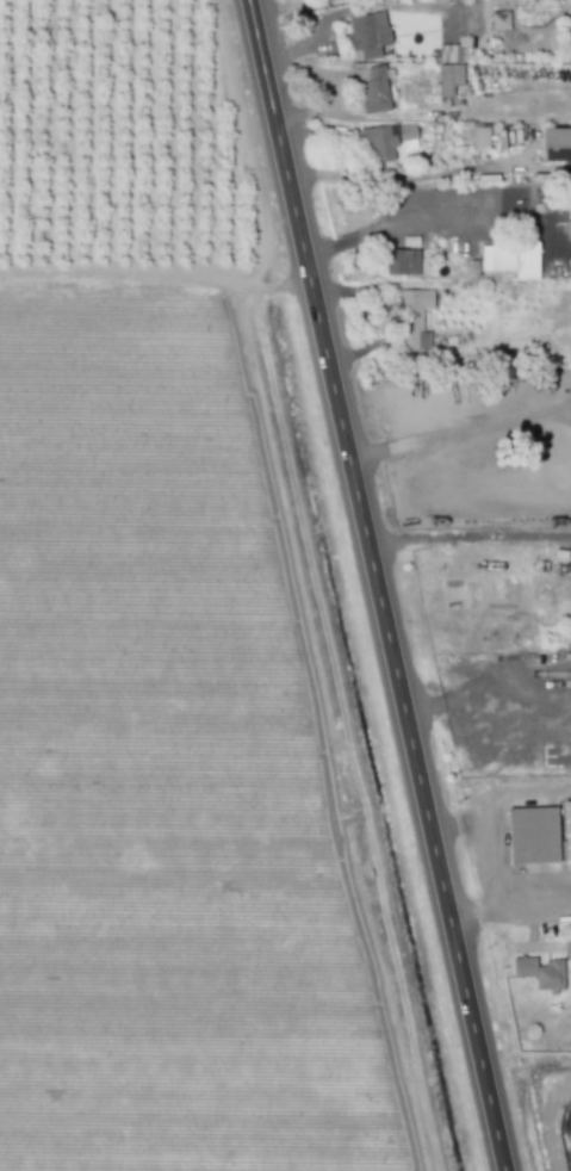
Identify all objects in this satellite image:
road: (349, 16)
building: (502, 20)
building: (371, 33)
building: (451, 69)
building: (377, 88)
building: (480, 136)
building: (391, 140)
building: (557, 144)
road: (427, 213)
building: (514, 260)
building: (403, 261)
road: (156, 278)
building: (416, 317)
road: (554, 420)
road: (468, 528)
road: (376, 584)
road: (488, 707)
road: (325, 725)
crop: (185, 763)
building: (570, 830)
building: (539, 836)
road: (509, 909)
building: (569, 947)
building: (542, 973)

